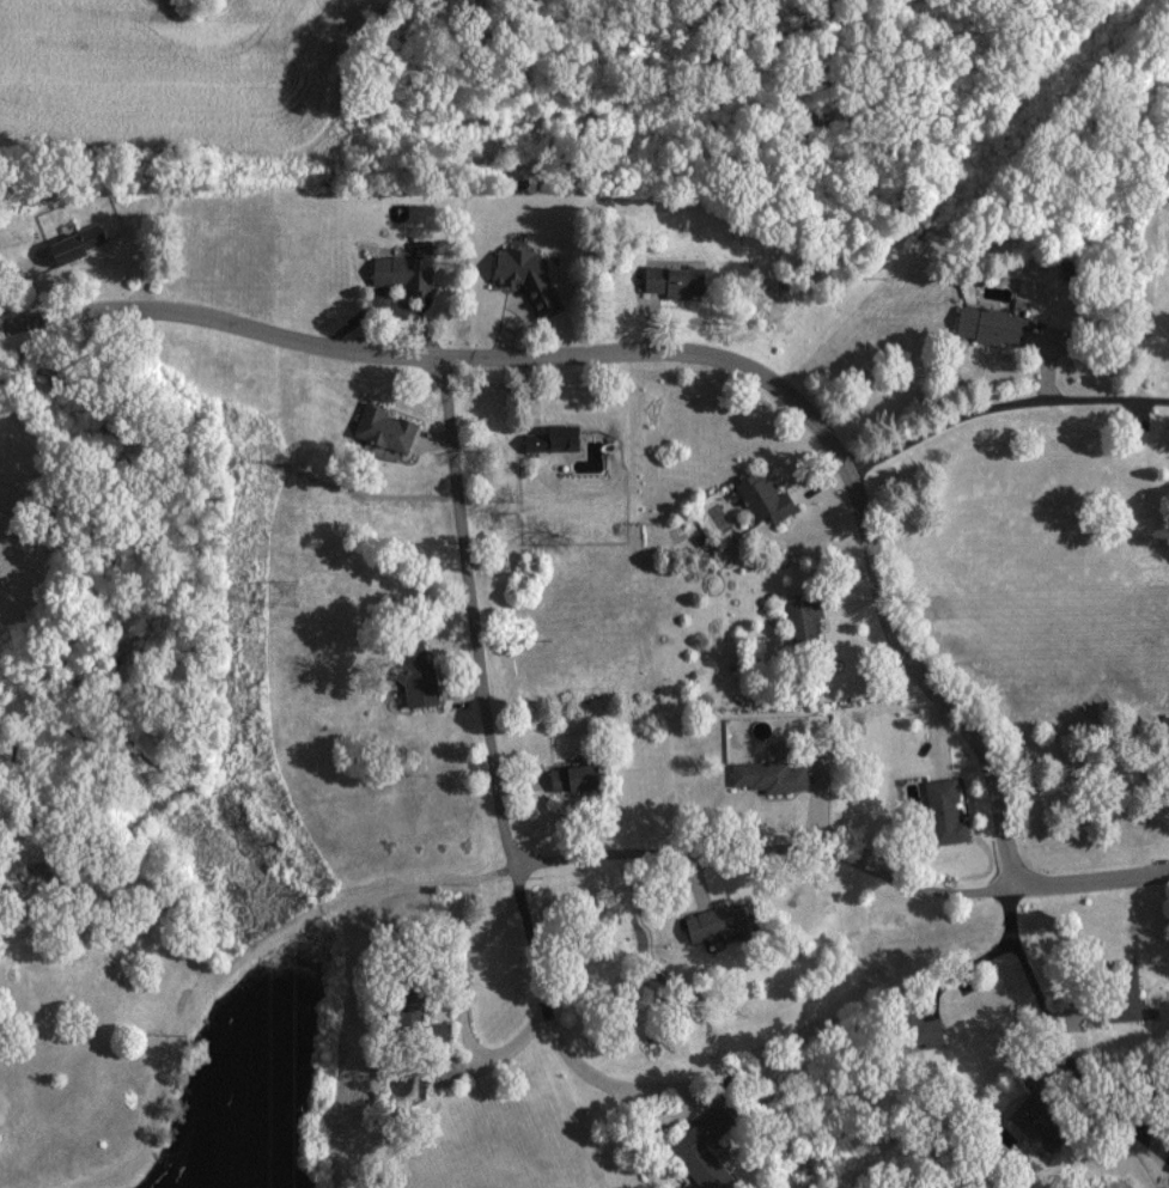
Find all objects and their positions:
building: (81, 240)
building: (530, 275)
building: (676, 281)
building: (994, 325)
road: (675, 351)
road: (1000, 404)
building: (386, 428)
building: (555, 438)
building: (766, 498)
power tower: (291, 593)
building: (806, 623)
building: (421, 683)
road: (482, 695)
building: (1167, 726)
building: (771, 775)
building: (577, 778)
building: (946, 811)
road: (482, 873)
road: (1089, 878)
building: (720, 921)
road: (459, 1006)
road: (1061, 1041)
road: (615, 1084)
building: (1046, 1137)
building: (706, 1151)
road: (1, 1187)

